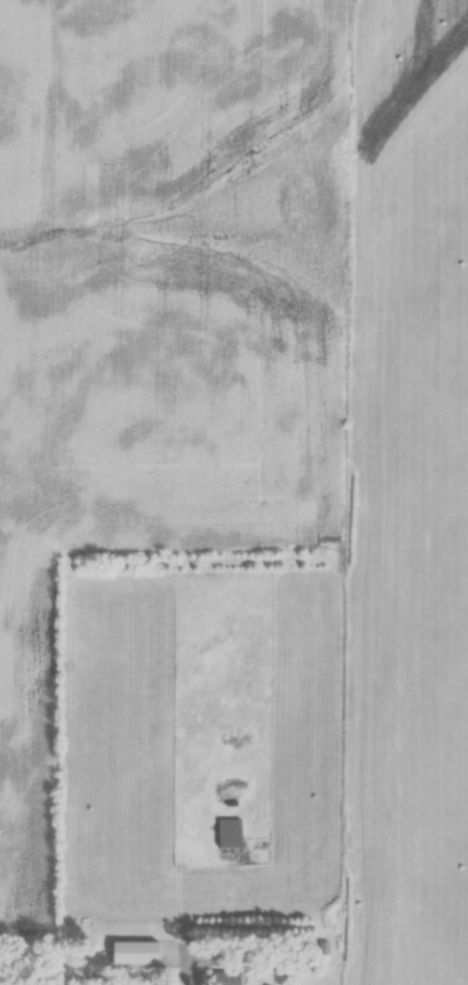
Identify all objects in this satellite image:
building: (226, 825)
building: (225, 977)

